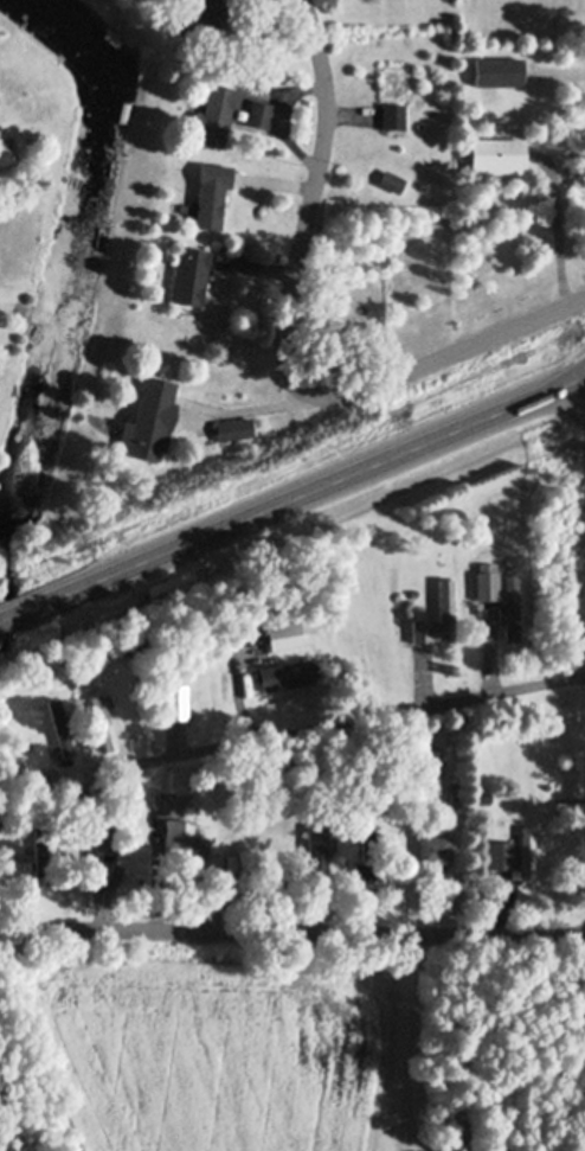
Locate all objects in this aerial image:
building: (206, 2)
building: (499, 72)
building: (214, 115)
building: (259, 115)
building: (393, 116)
building: (4, 154)
building: (497, 155)
building: (212, 194)
building: (189, 274)
road: (285, 344)
road: (247, 407)
building: (149, 418)
building: (233, 427)
road: (292, 497)
building: (487, 580)
building: (446, 597)
building: (512, 607)
building: (284, 634)
building: (285, 673)
building: (176, 702)
building: (102, 722)
building: (62, 723)
road: (329, 724)
building: (426, 760)
building: (178, 781)
building: (435, 848)
building: (316, 849)
building: (527, 852)
building: (500, 853)
building: (19, 870)
building: (364, 871)
road: (292, 928)
road: (413, 1040)

